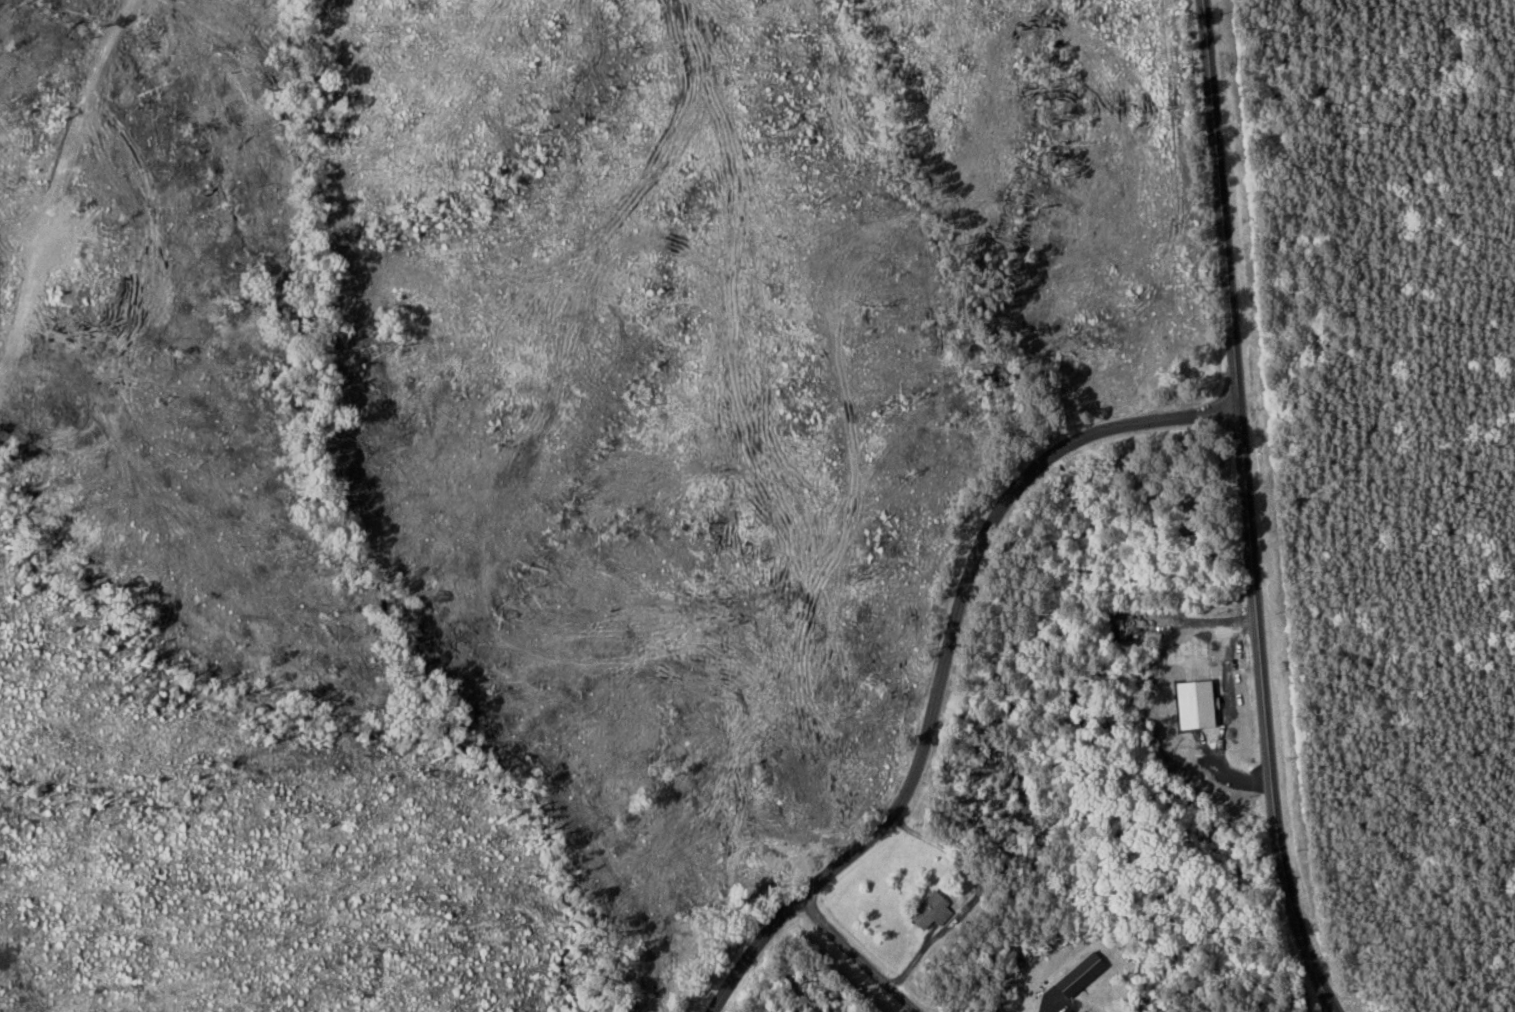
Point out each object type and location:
road: (1247, 510)
road: (945, 662)
building: (926, 912)
road: (858, 950)

